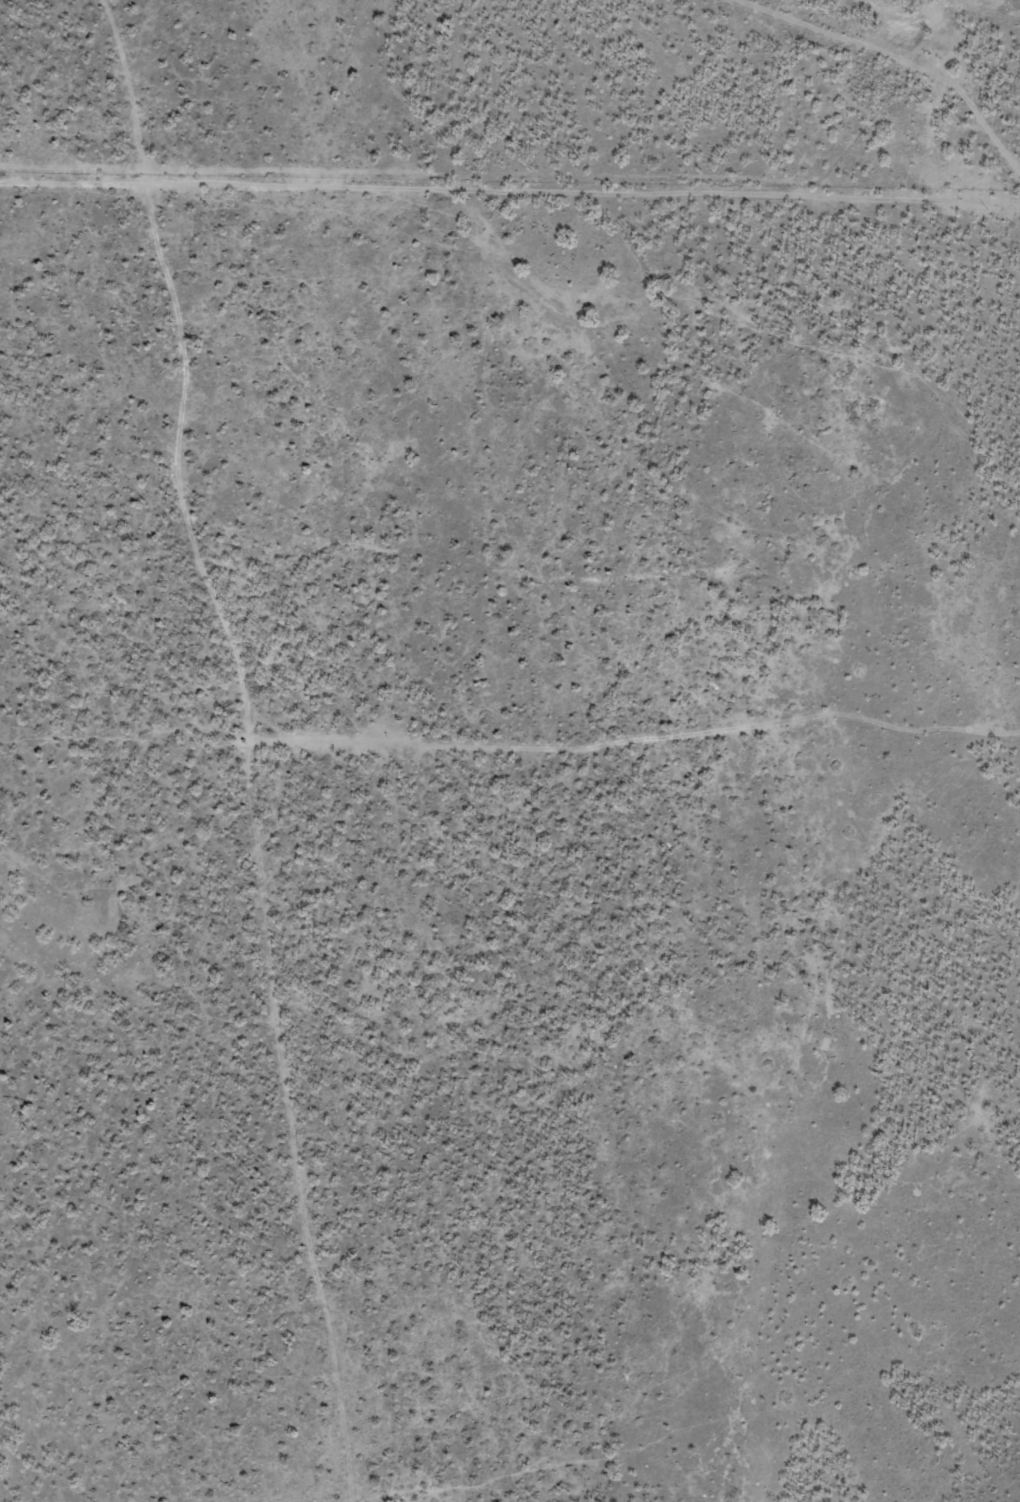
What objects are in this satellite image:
road: (630, 738)
road: (235, 740)

